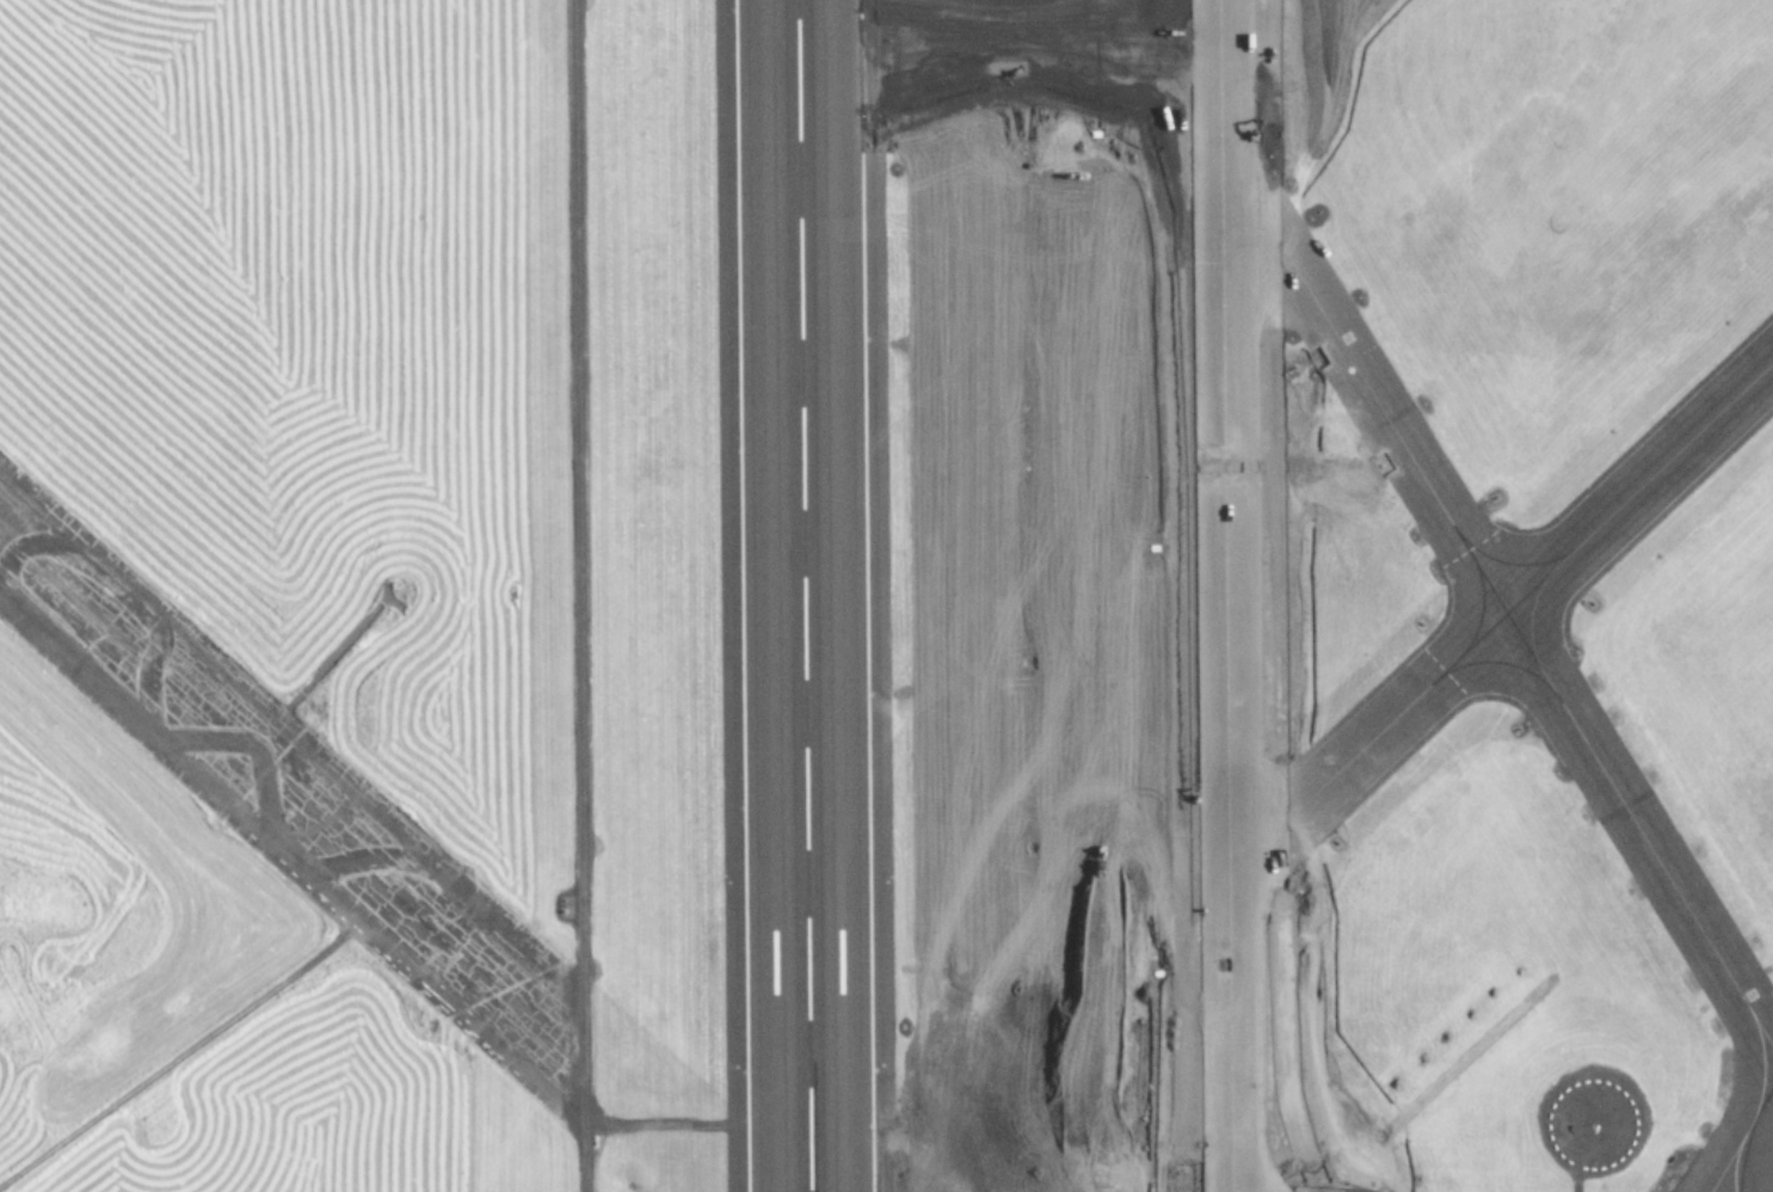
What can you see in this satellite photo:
crop: (260, 346)
crop: (509, 473)
airport taxiway: (1452, 529)
airport runway: (718, 595)
airport taxiway: (1195, 595)
airport taxiway: (1262, 595)
airport runway: (802, 596)
airport runway: (882, 596)
airport: (886, 596)
airport taxiway: (1224, 596)
crop: (1036, 607)
crop: (630, 615)
road: (580, 627)
airport taxiway: (1476, 640)
road: (294, 807)
crop: (187, 993)
road: (196, 1037)
airport taxiway: (1748, 1125)
road: (587, 1155)
airport taxiway: (1744, 1155)
airport taxiway: (808, 1191)
airport taxiway: (808, 1191)

